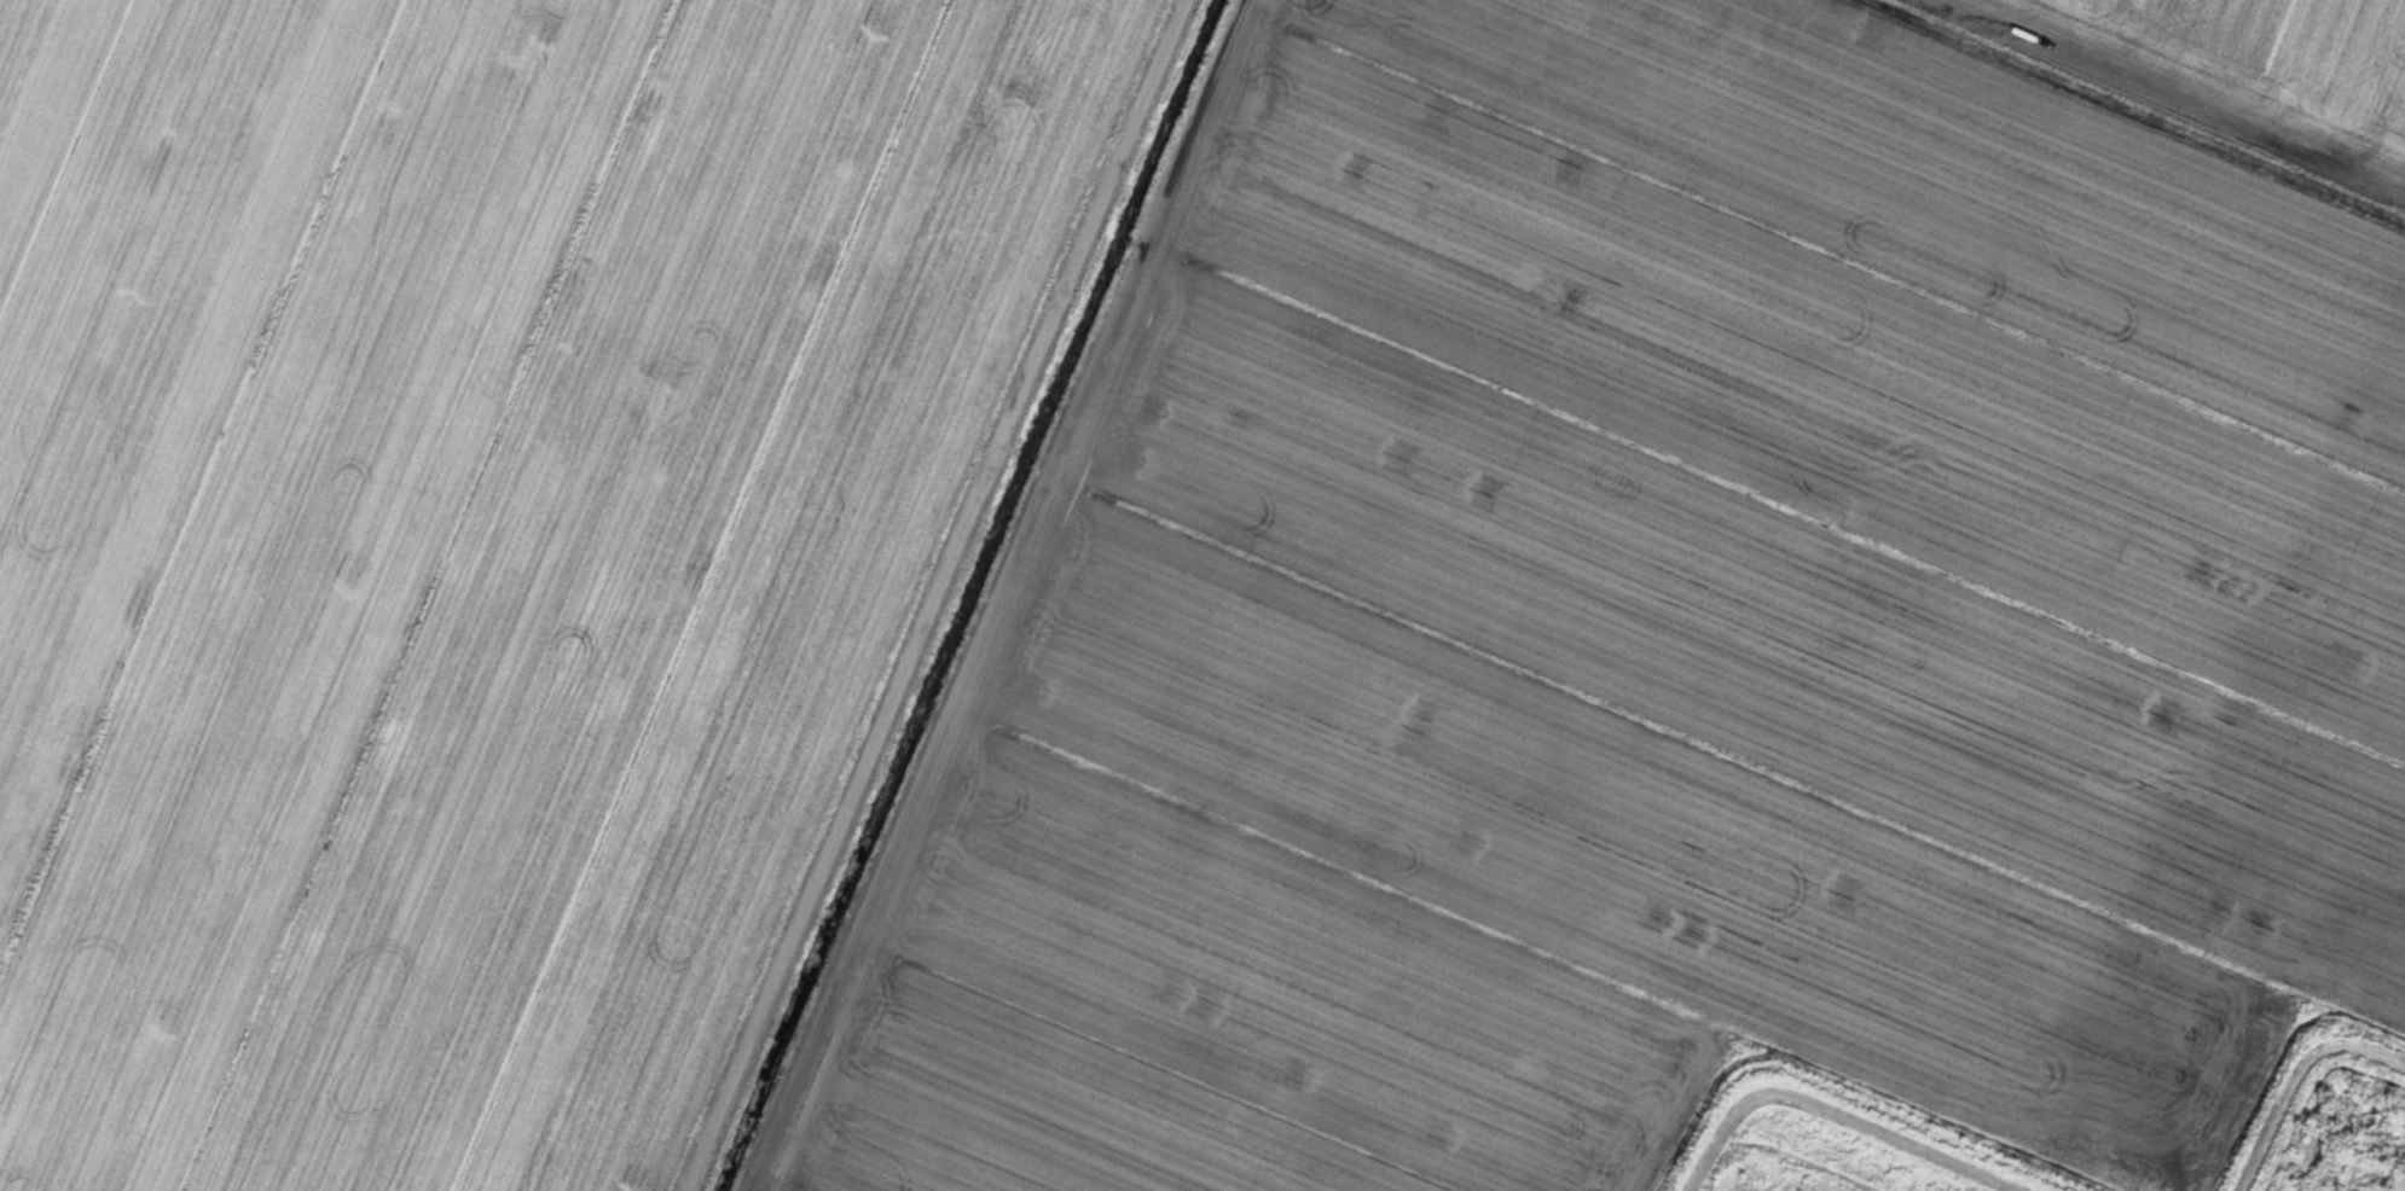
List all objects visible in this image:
road: (2177, 95)
crop: (1184, 583)
road: (938, 595)

